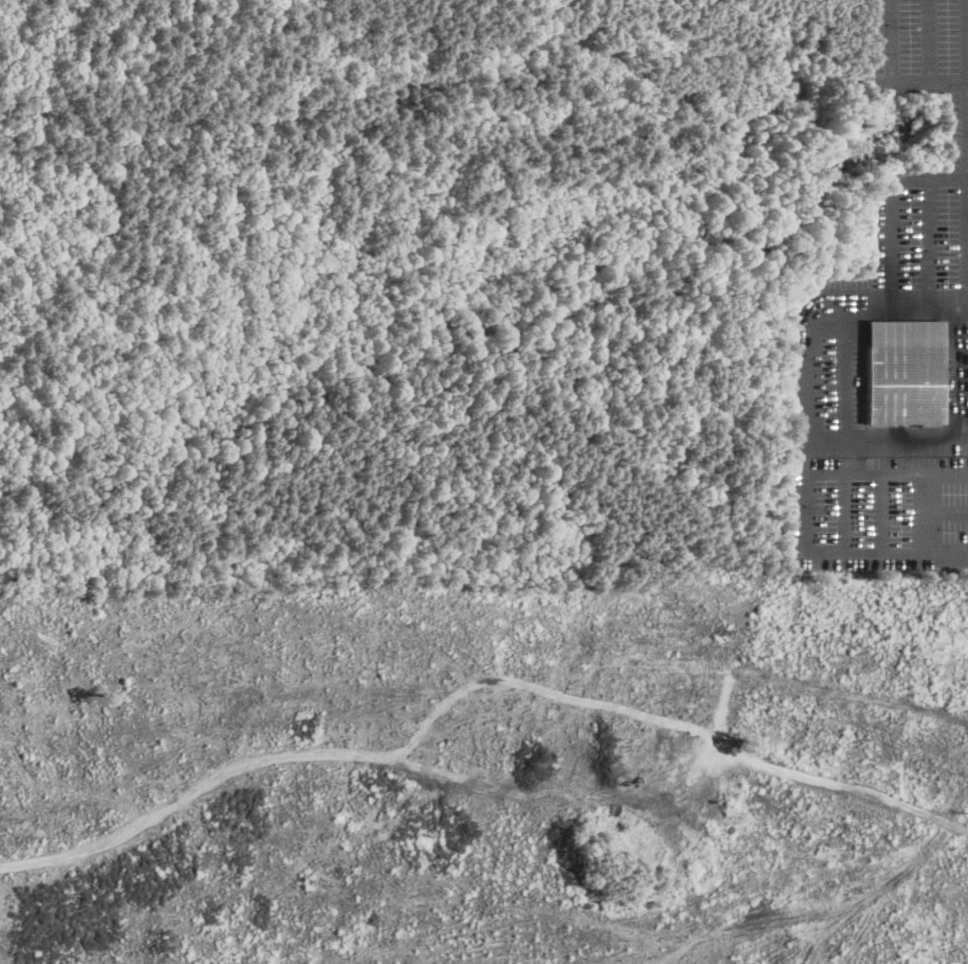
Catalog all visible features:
parking lot: (921, 39)
road: (895, 57)
road: (967, 72)
road: (948, 78)
road: (894, 208)
parking lot: (924, 230)
road: (853, 371)
building: (903, 371)
parking lot: (867, 448)
road: (814, 477)
road: (927, 554)

